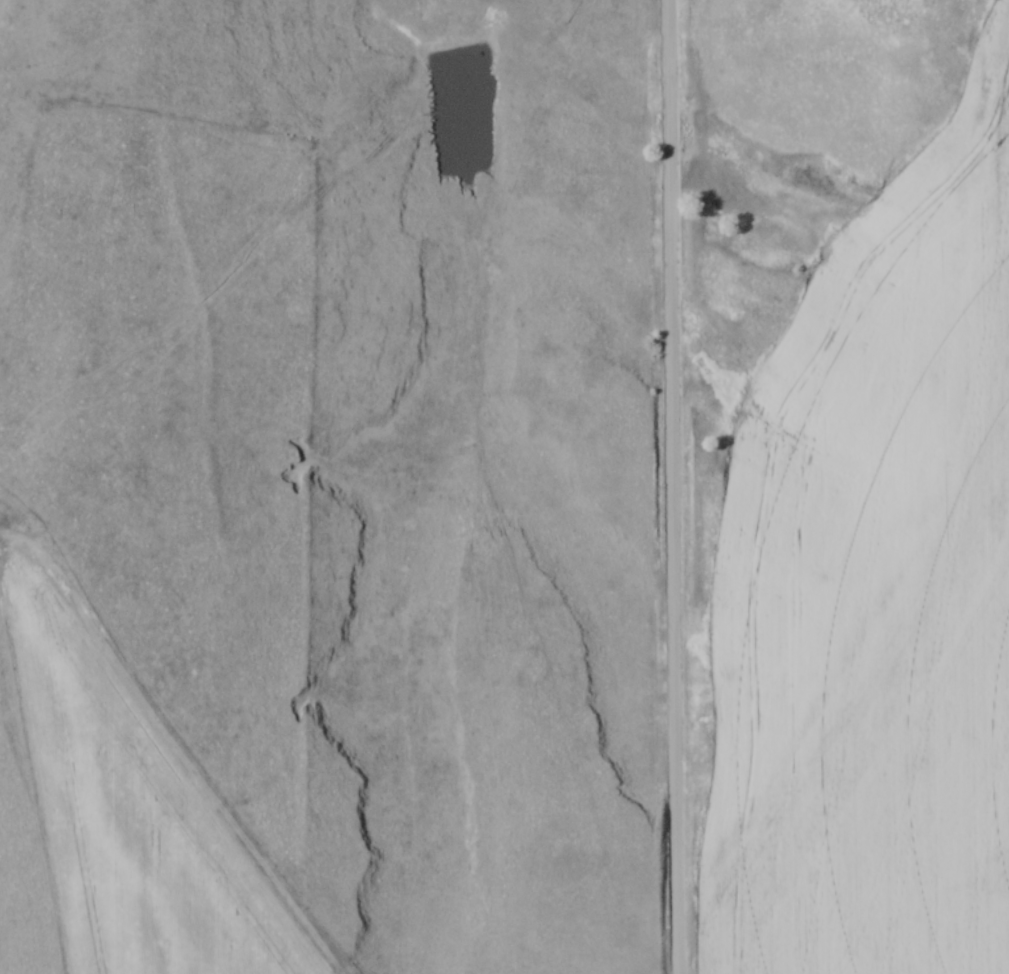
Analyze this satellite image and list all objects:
road: (668, 487)

